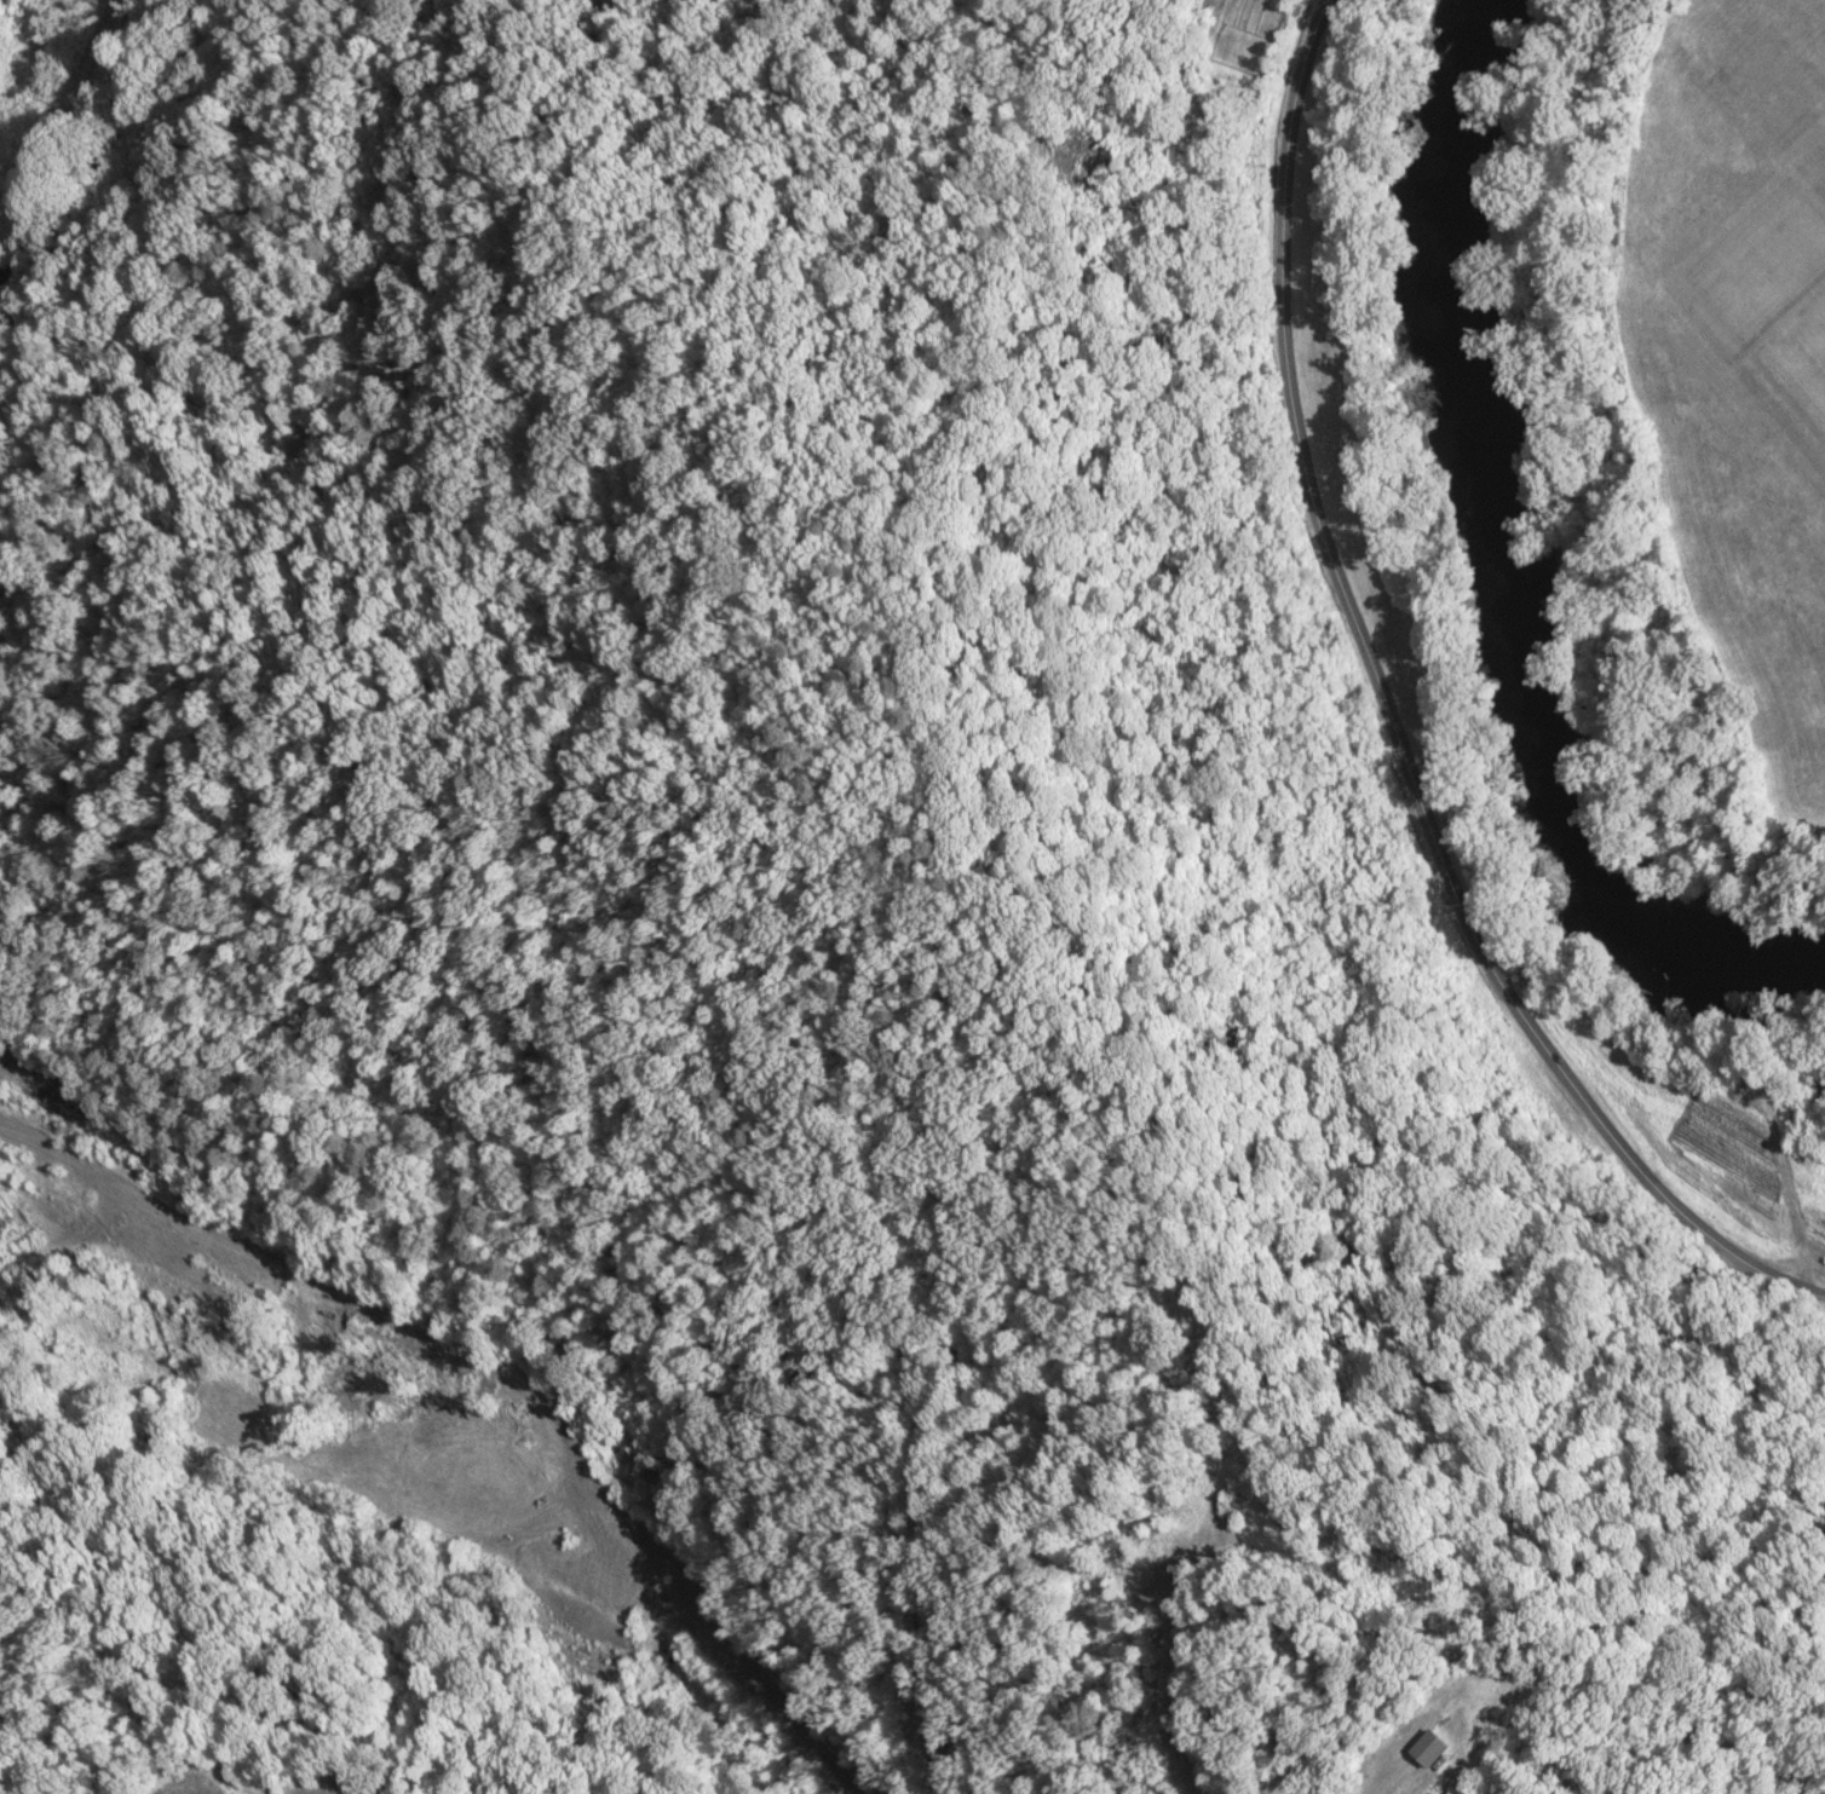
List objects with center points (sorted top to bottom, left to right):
river: (100, 146)
park: (1682, 420)
road: (1579, 508)
river: (1508, 559)
road: (1387, 721)
building: (1429, 1748)

